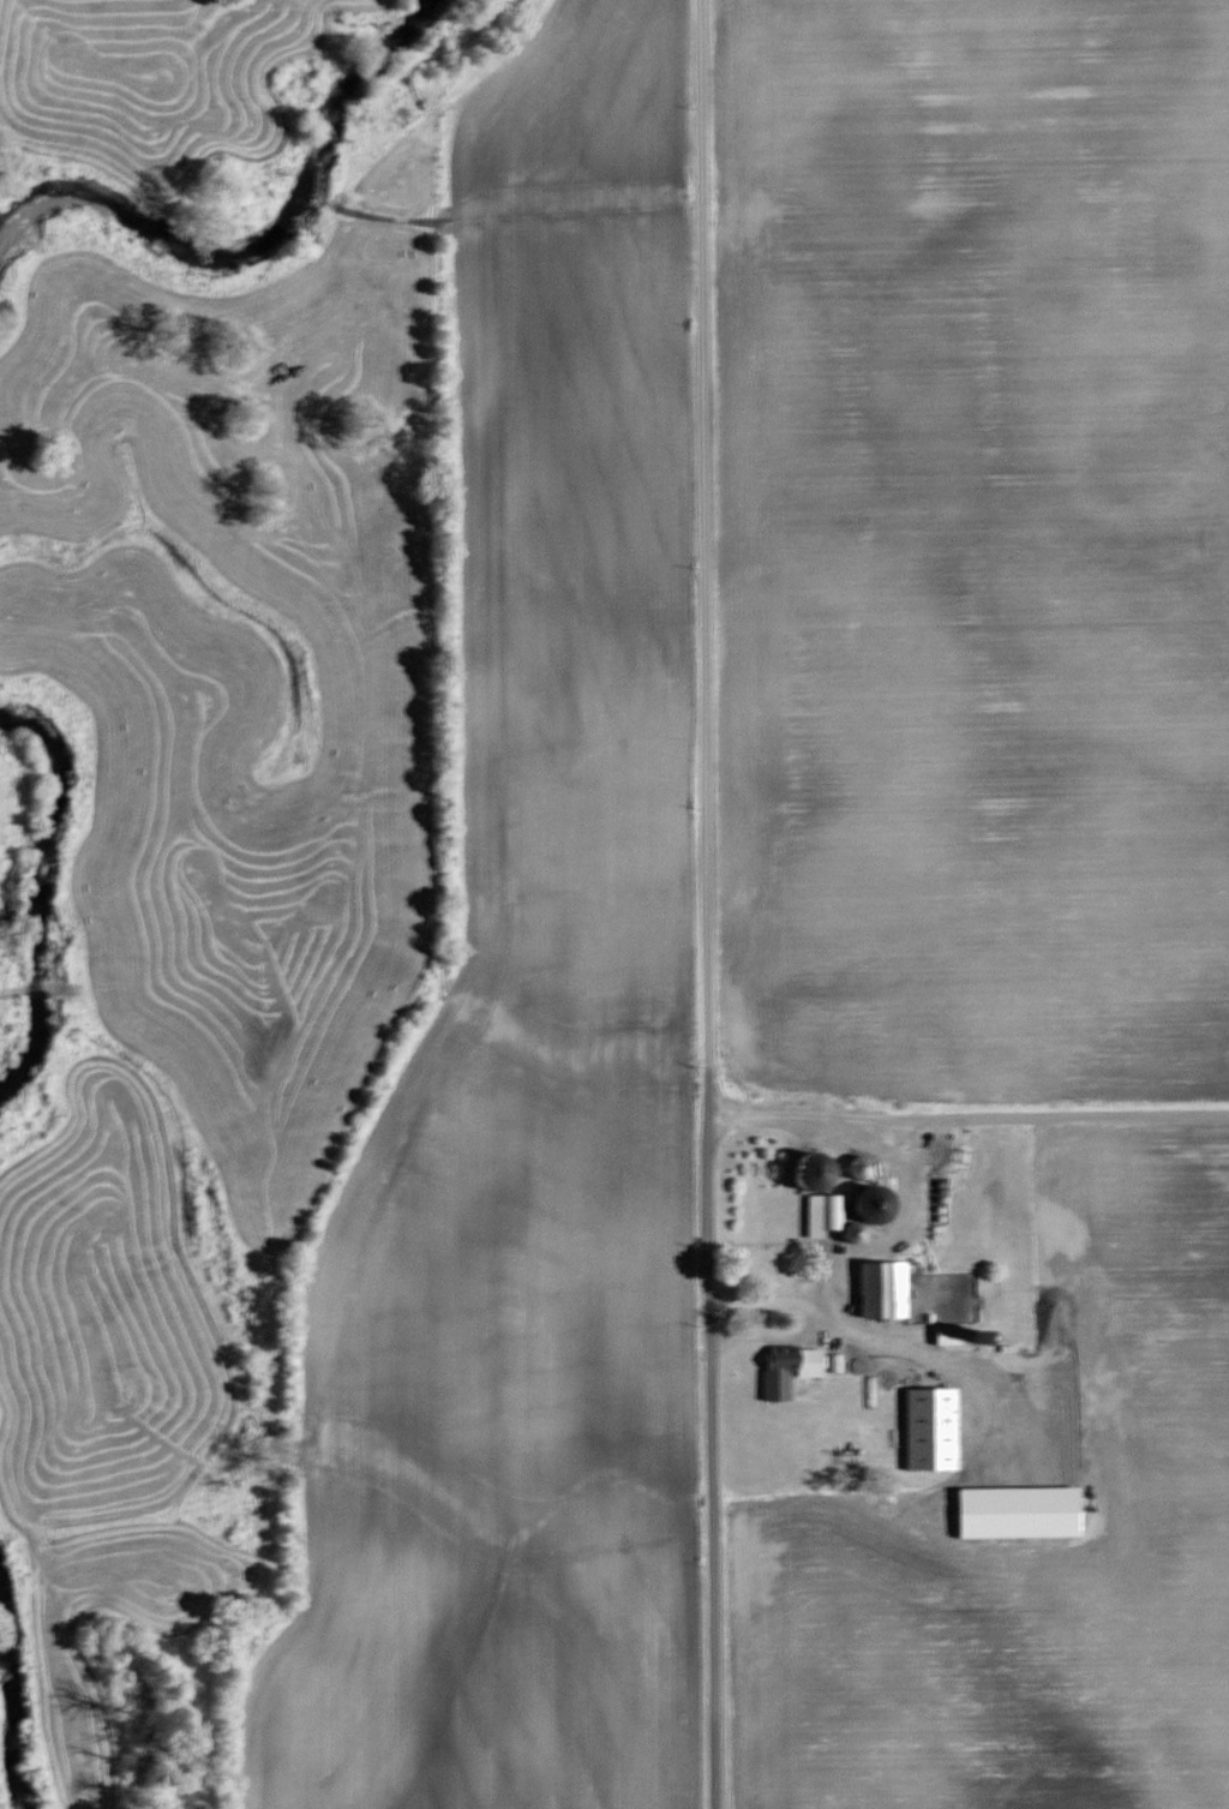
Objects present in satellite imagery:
road: (703, 904)
road: (966, 1114)
building: (862, 1163)
building: (877, 1204)
building: (822, 1212)
building: (857, 1230)
road: (846, 1268)
building: (886, 1287)
road: (772, 1296)
building: (951, 1332)
building: (796, 1355)
building: (934, 1427)

